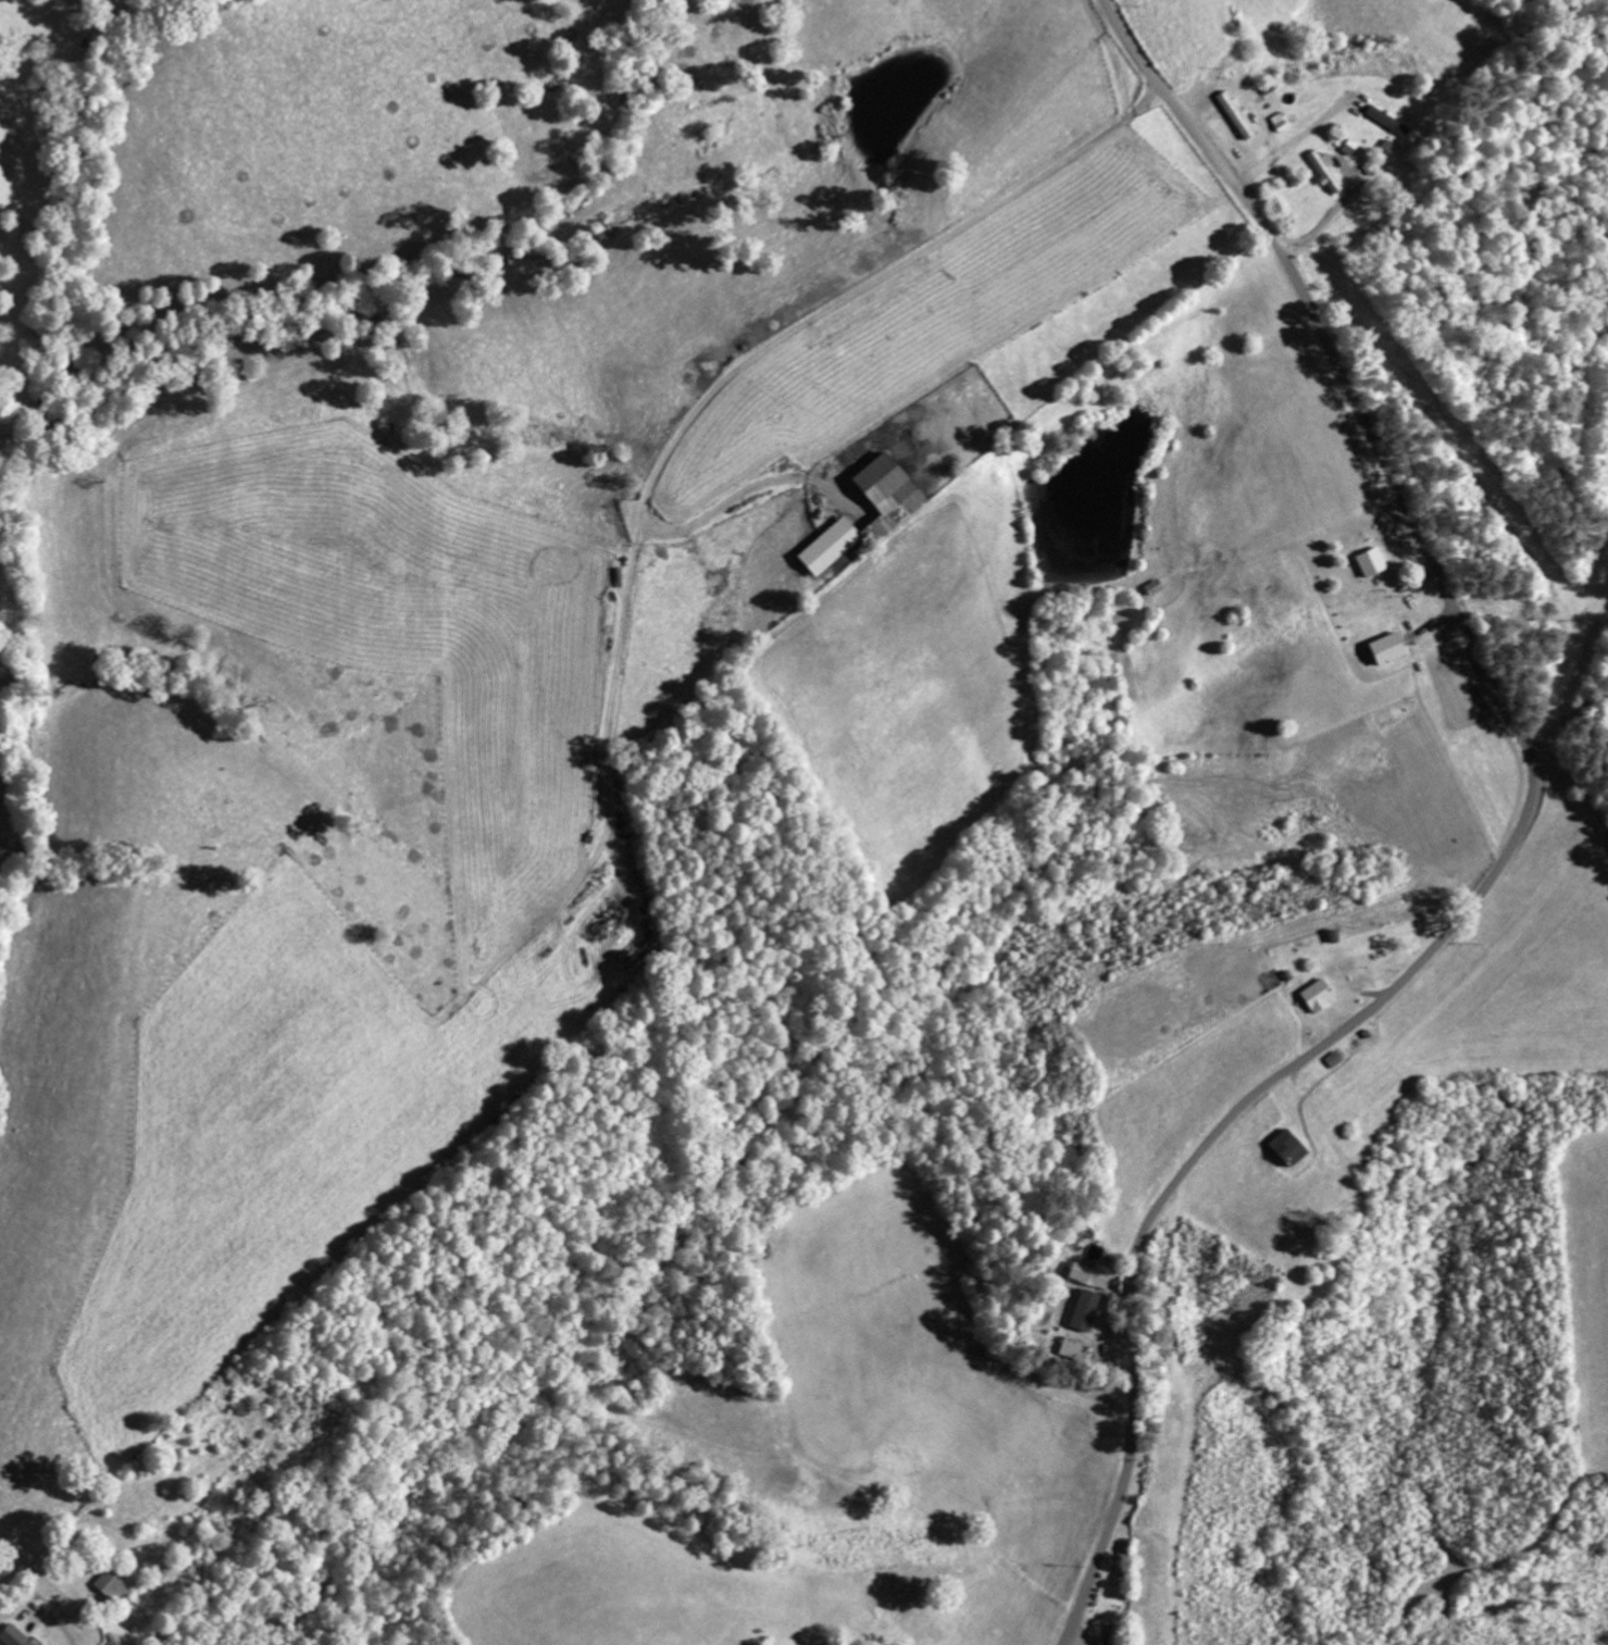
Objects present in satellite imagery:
building: (1307, 121)
building: (1386, 121)
building: (1324, 170)
building: (893, 509)
building: (1368, 563)
building: (1150, 589)
building: (1383, 650)
road: (1568, 719)
road: (1514, 845)
building: (1314, 997)
building: (1285, 1150)
building: (1088, 1276)
building: (1082, 1312)
building: (1068, 1350)
building: (110, 1588)
building: (1112, 1636)
building: (11, 1637)

